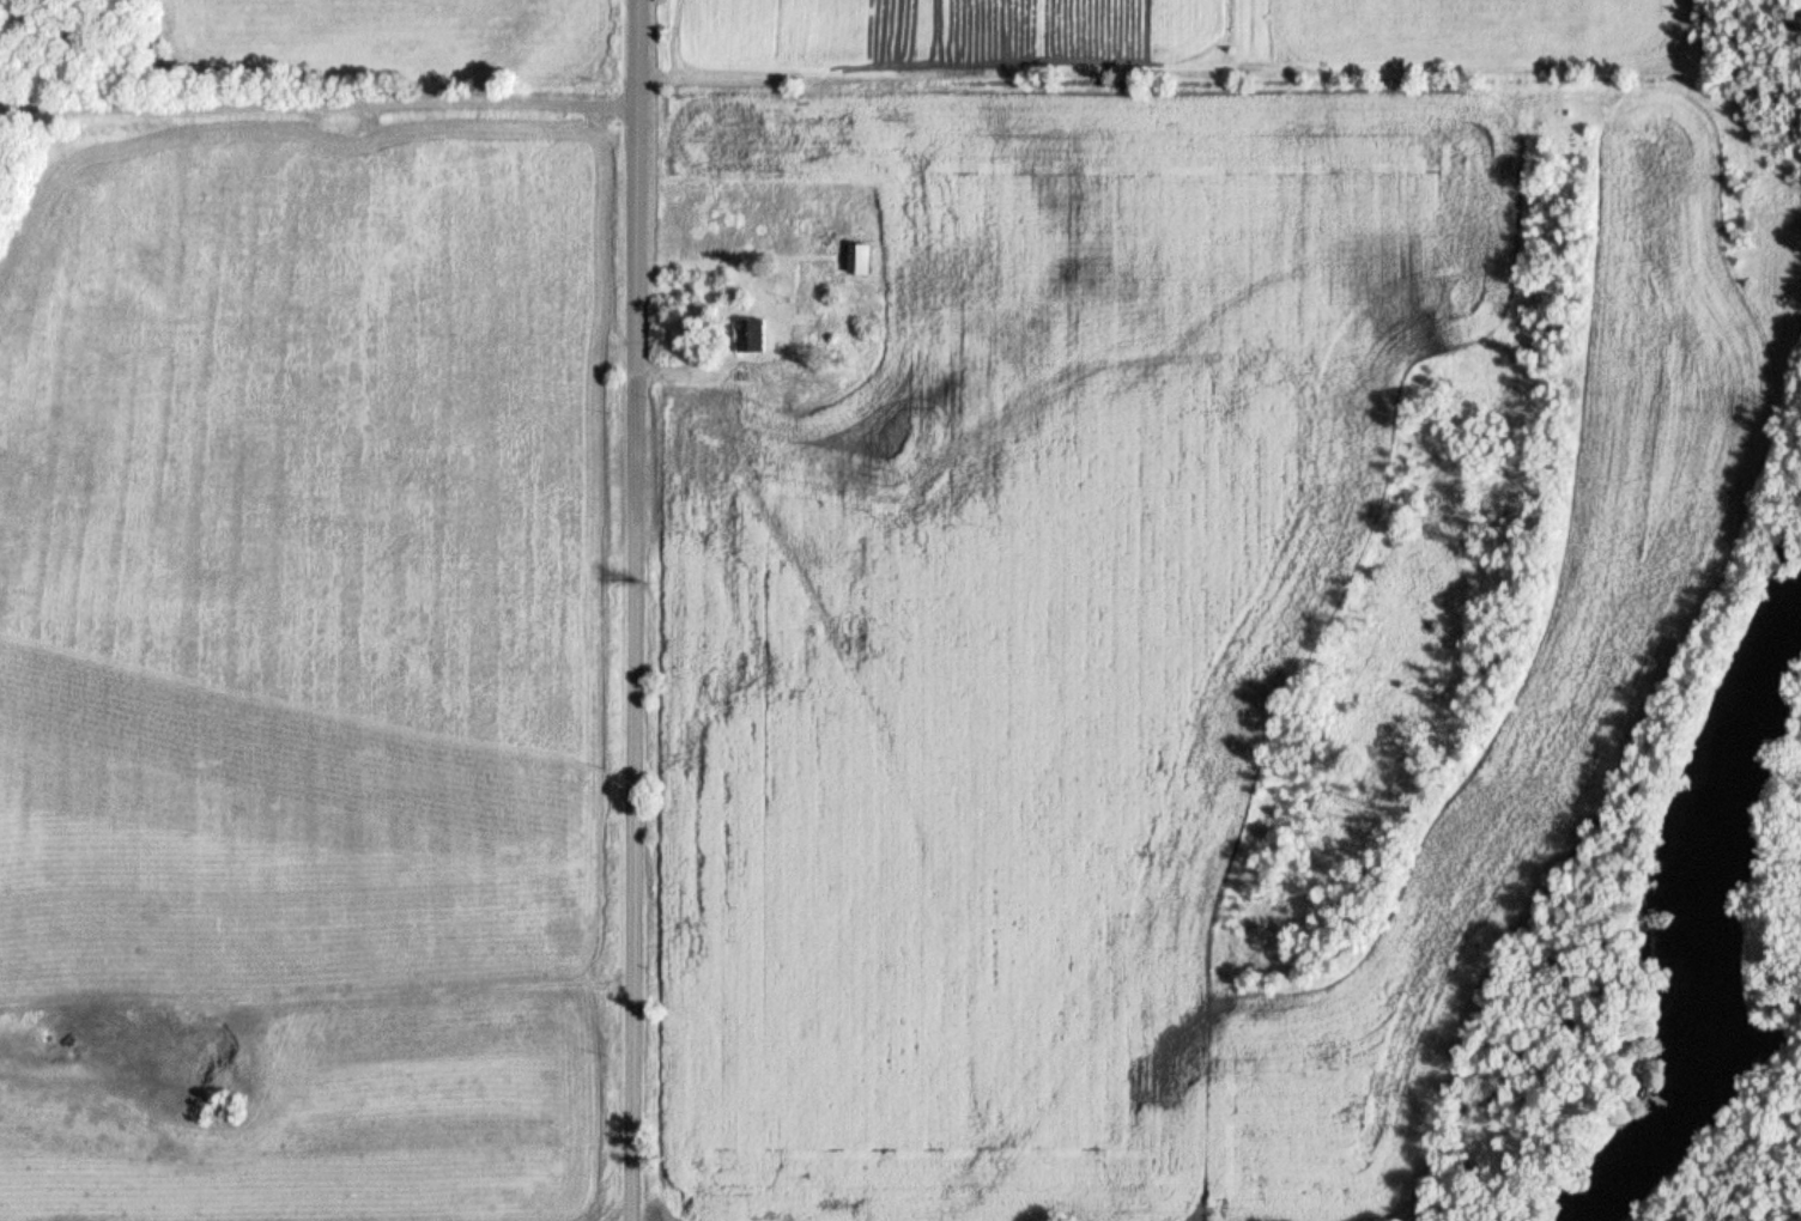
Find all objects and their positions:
road: (315, 104)
building: (862, 261)
building: (751, 334)
road: (631, 610)
river: (1669, 925)

